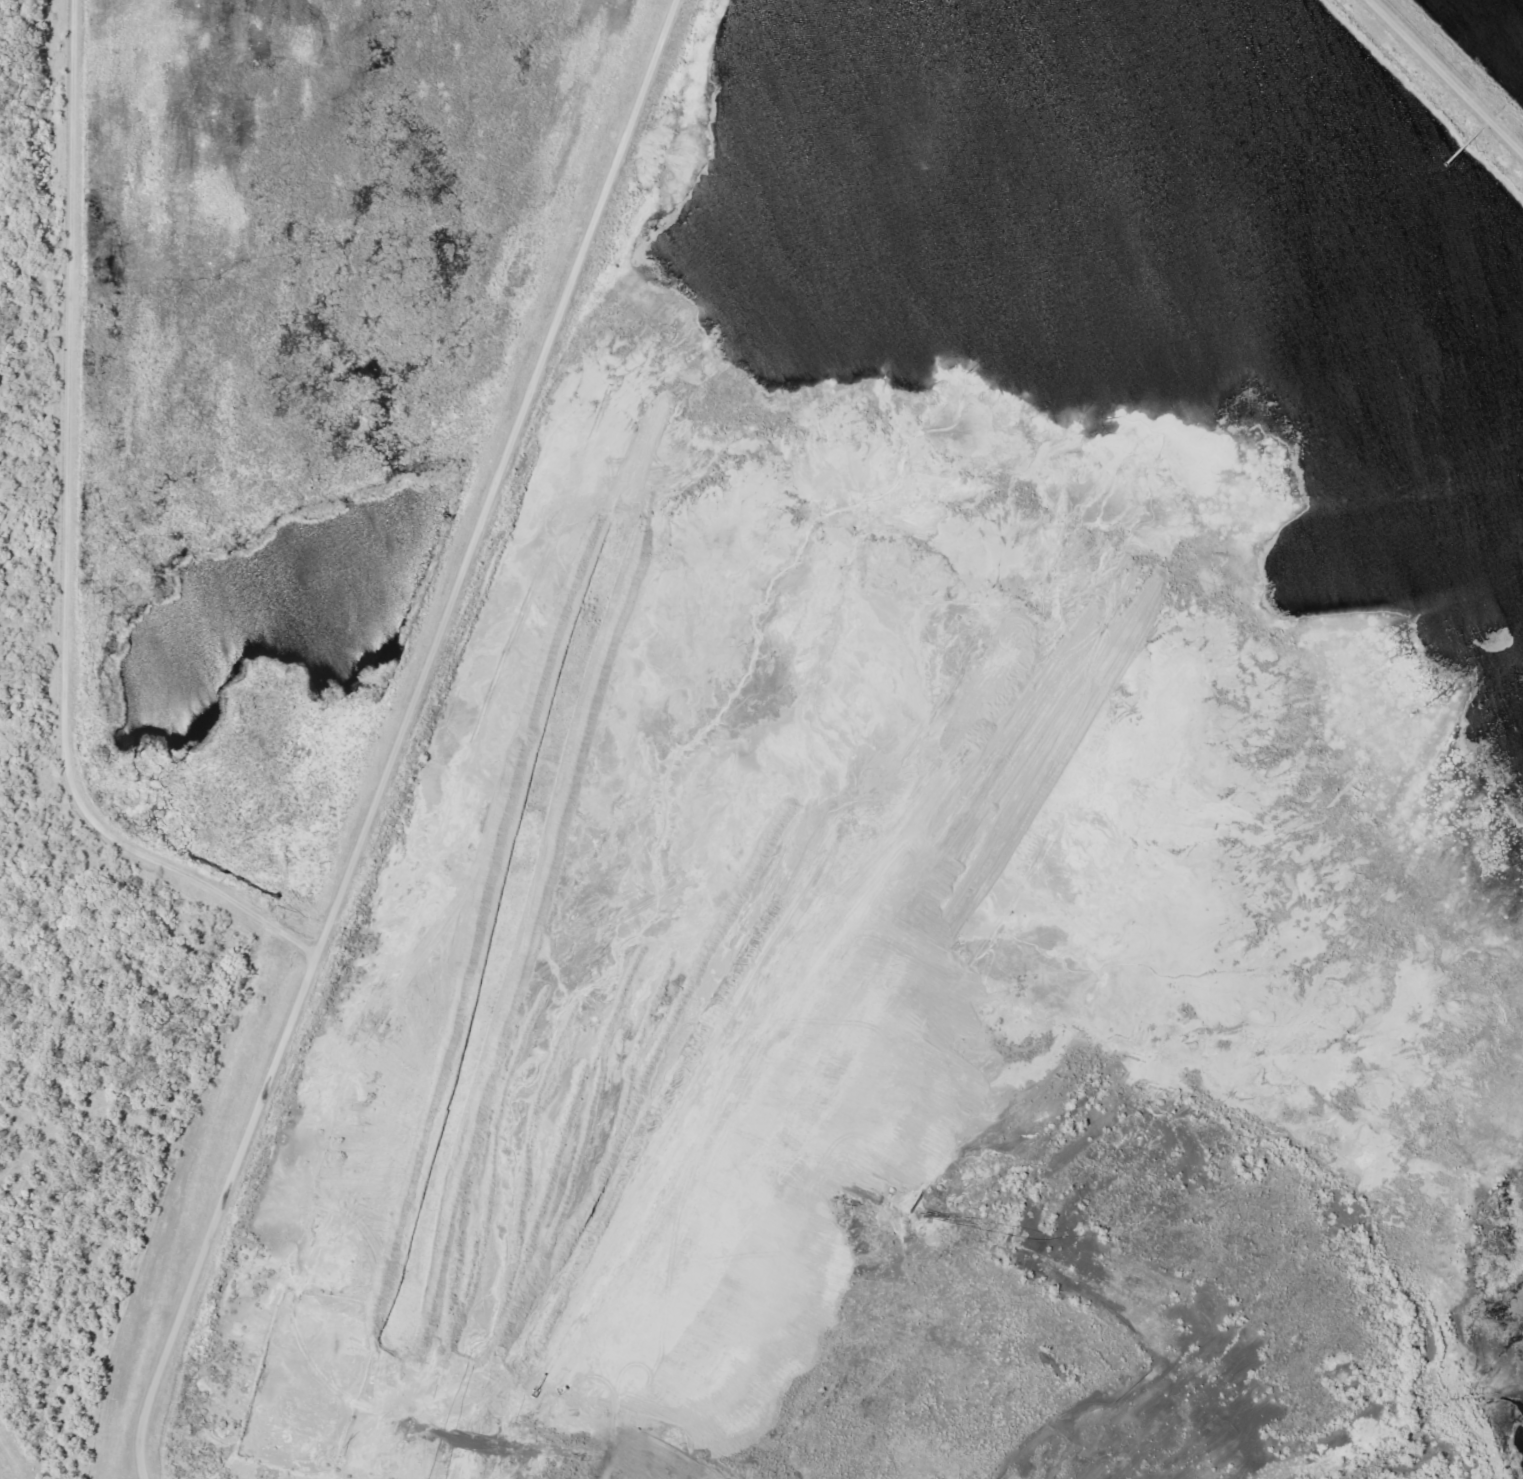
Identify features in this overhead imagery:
road: (1443, 79)
road: (397, 737)
power plant: (761, 739)

